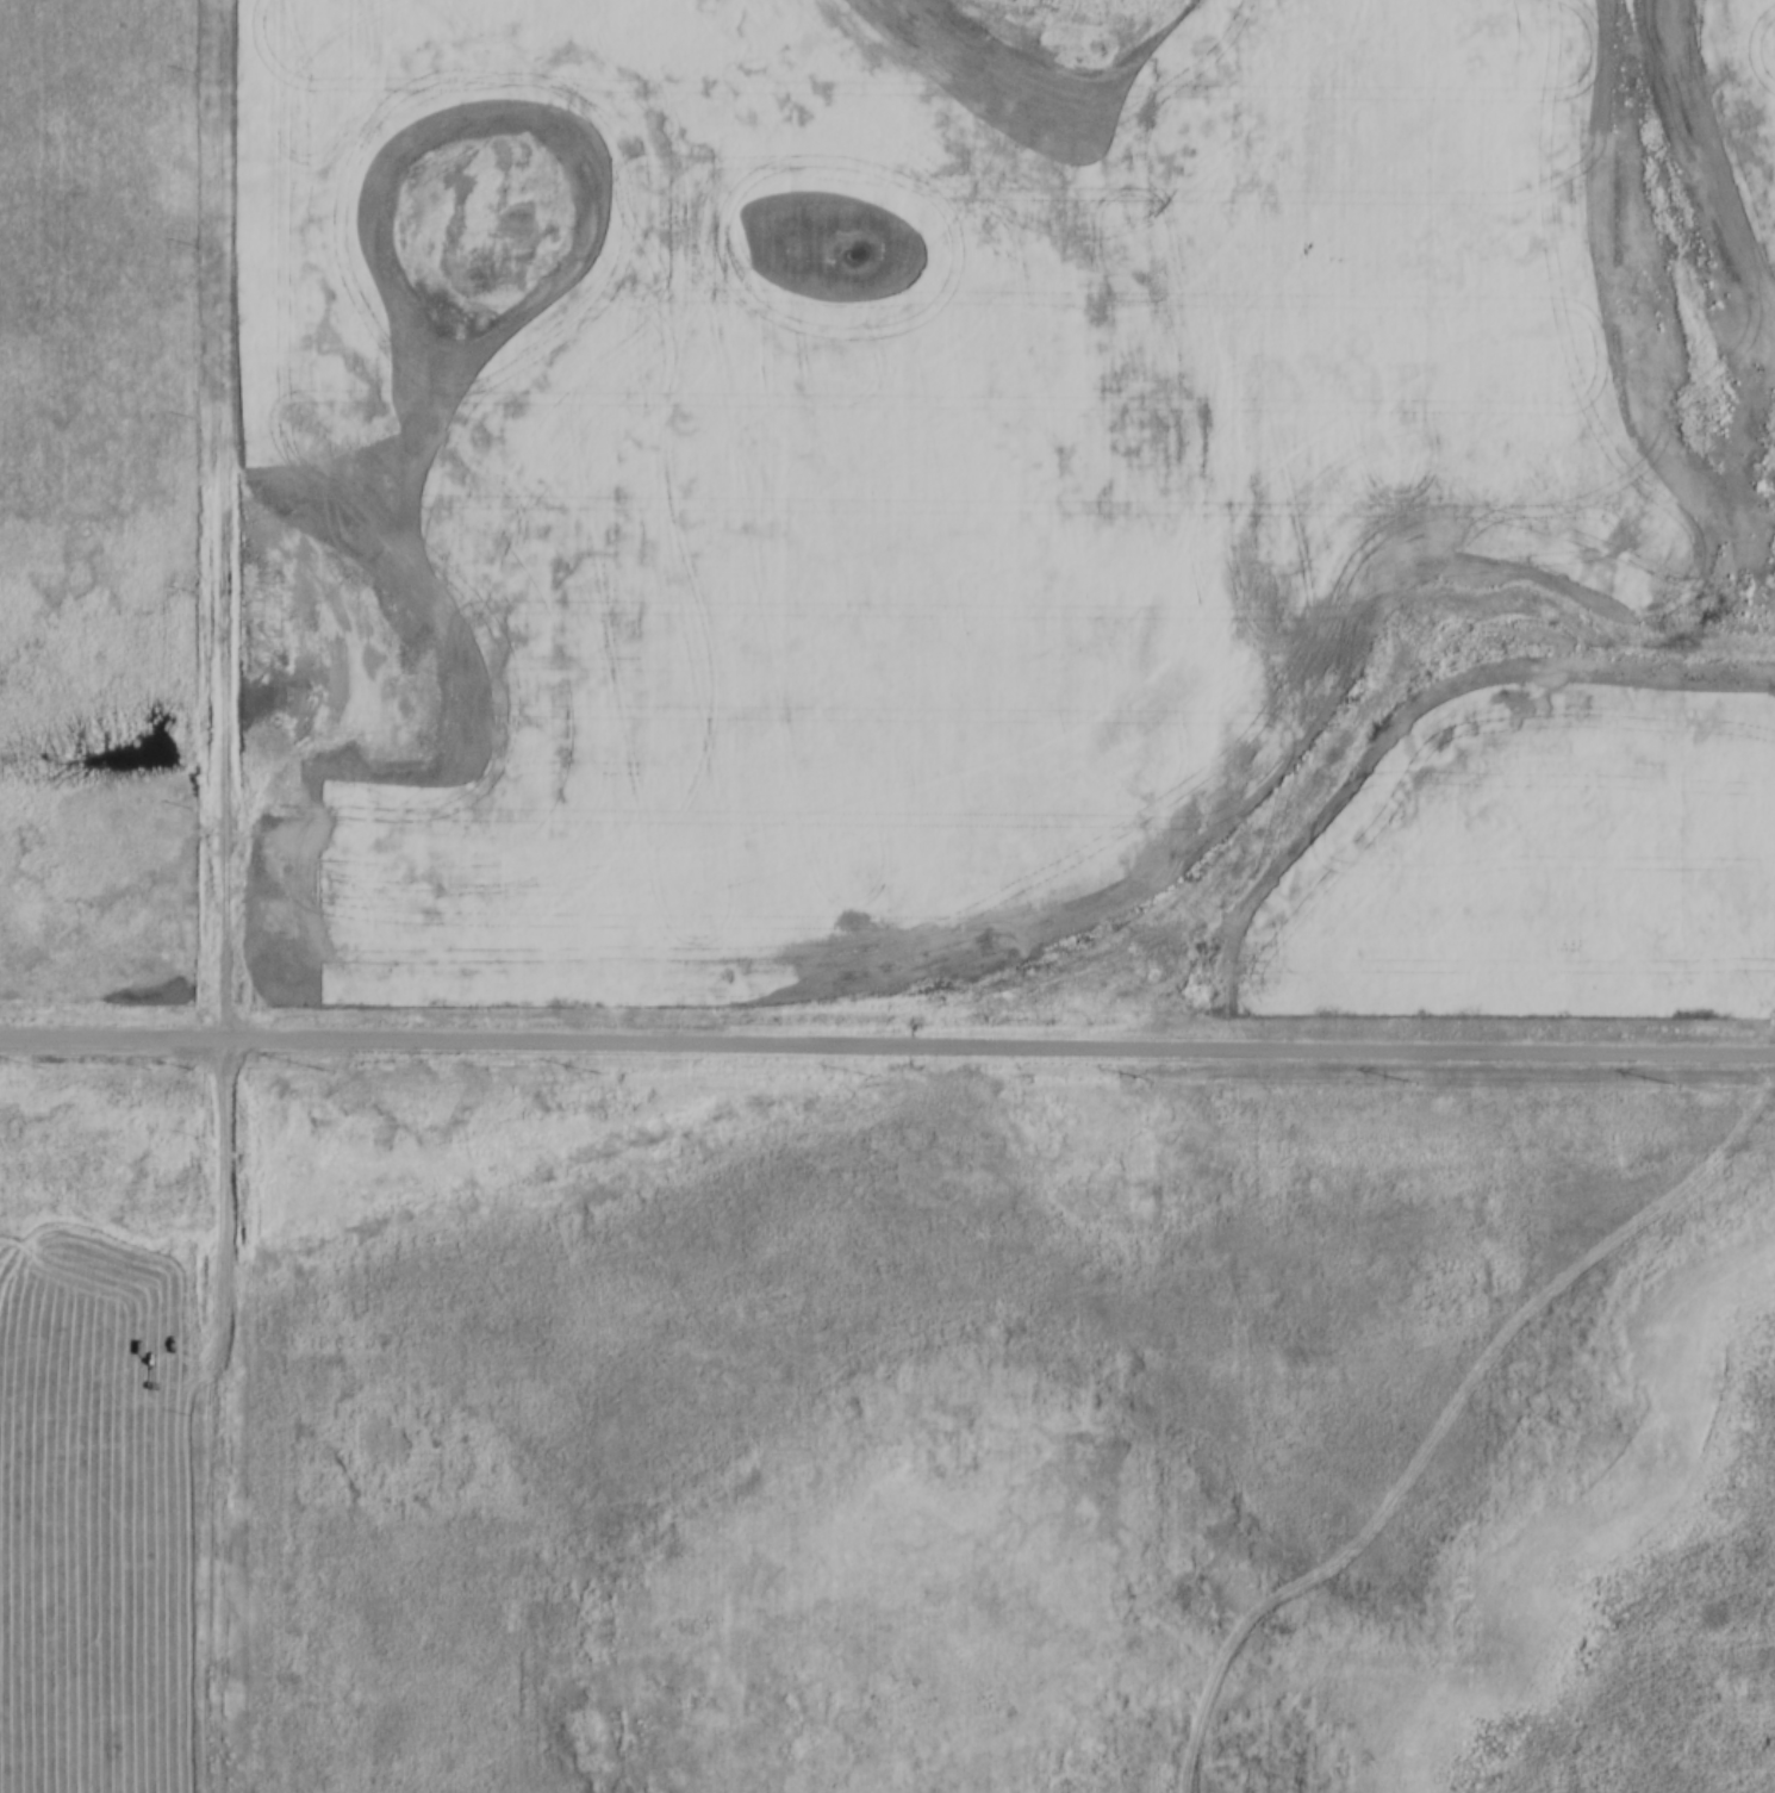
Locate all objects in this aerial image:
road: (223, 896)
road: (887, 1046)
building: (1574, 1237)

